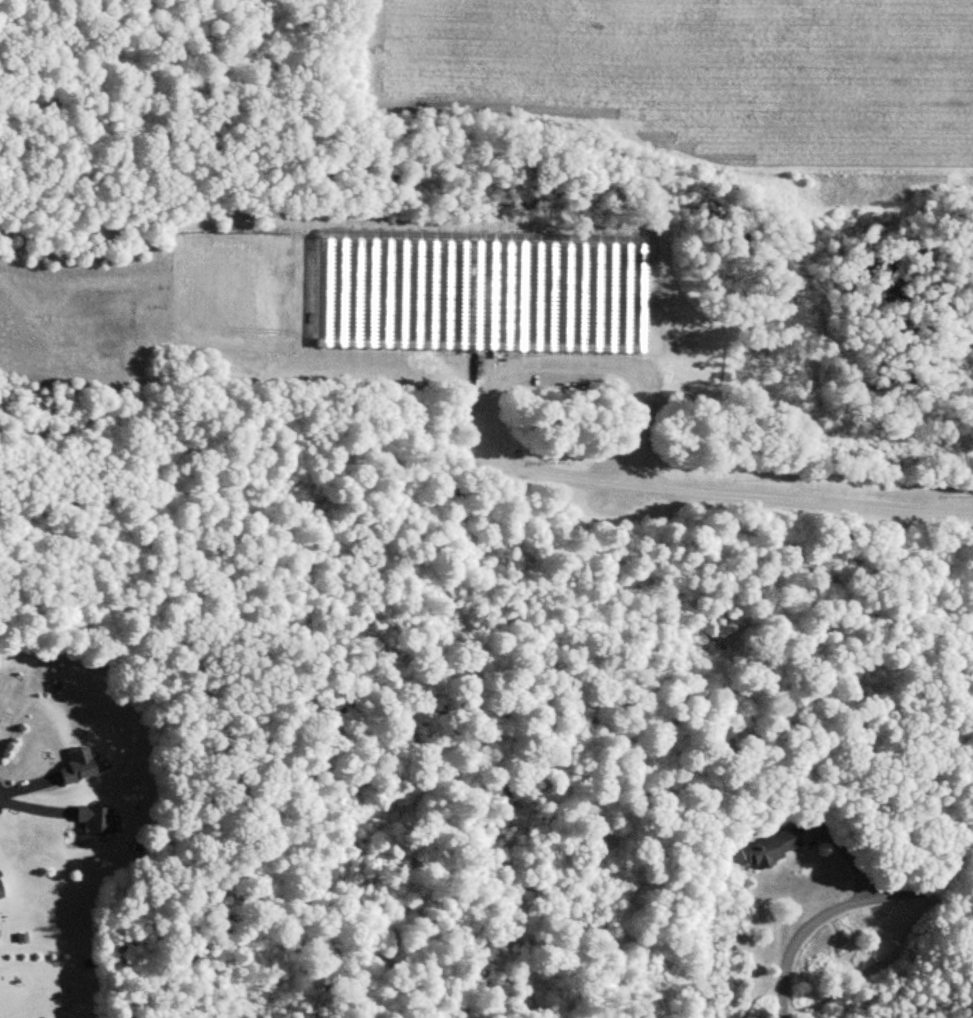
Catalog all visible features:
building: (474, 292)
road: (642, 411)
road: (547, 473)
road: (812, 500)
building: (73, 767)
building: (90, 820)
building: (766, 849)
building: (0, 899)
road: (848, 903)

